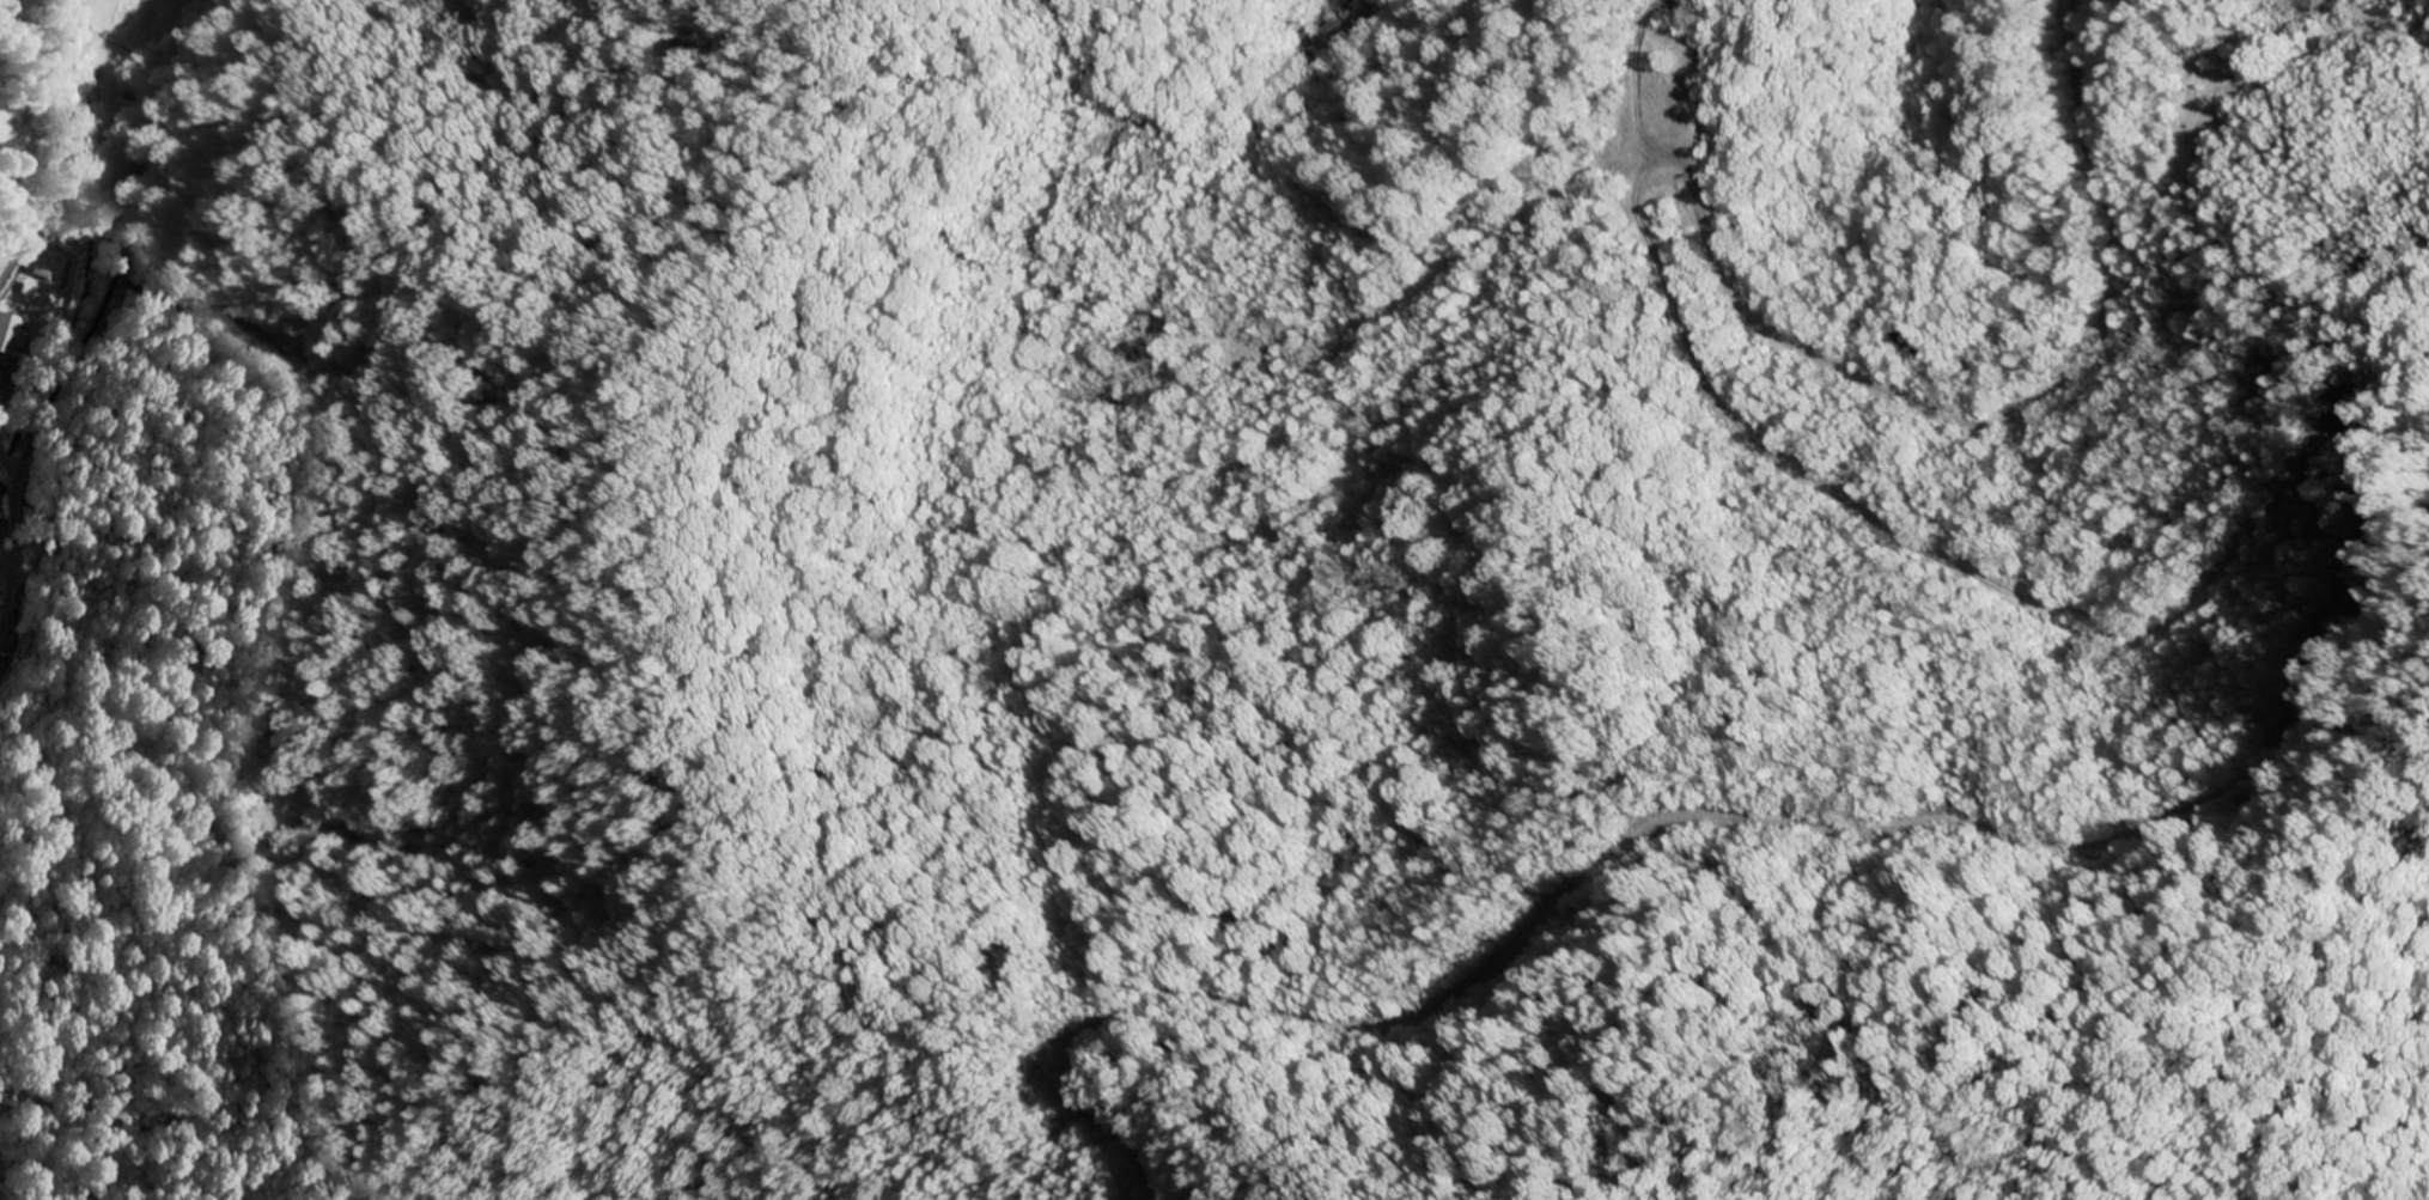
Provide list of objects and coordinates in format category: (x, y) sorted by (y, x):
road: (106, 313)
building: (8, 335)

